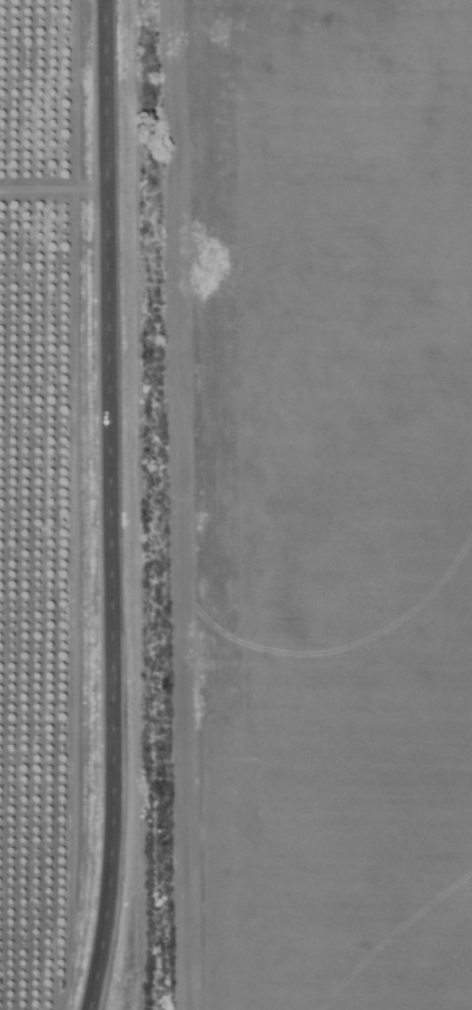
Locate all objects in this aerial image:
road: (108, 506)
crop: (55, 508)

